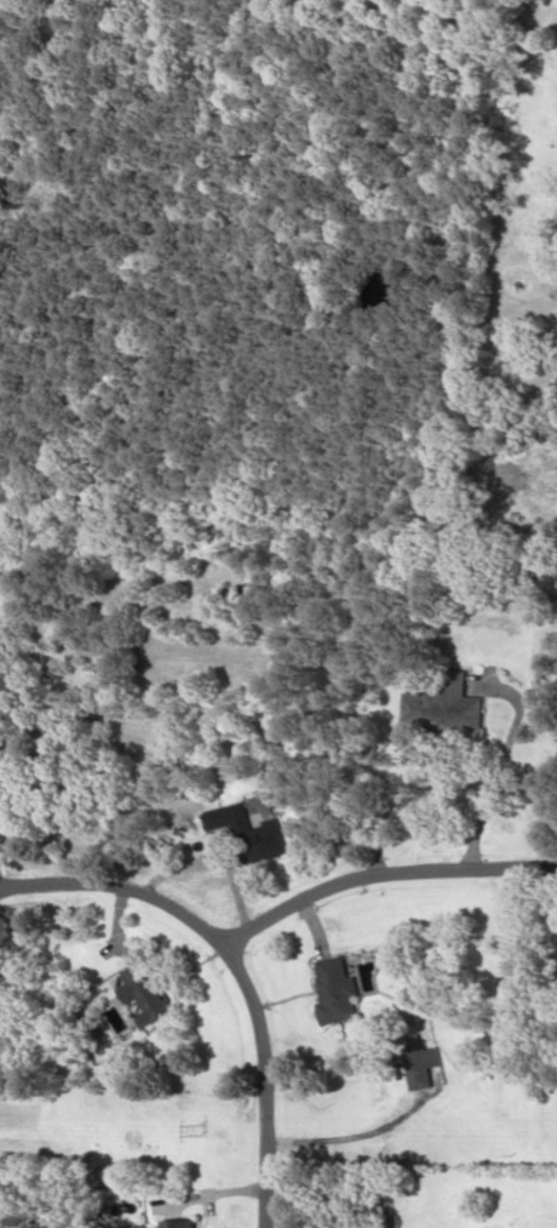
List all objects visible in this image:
building: (444, 703)
building: (249, 832)
road: (380, 874)
road: (235, 966)
building: (337, 989)
building: (420, 1062)
power tower: (200, 1126)
building: (182, 1222)

